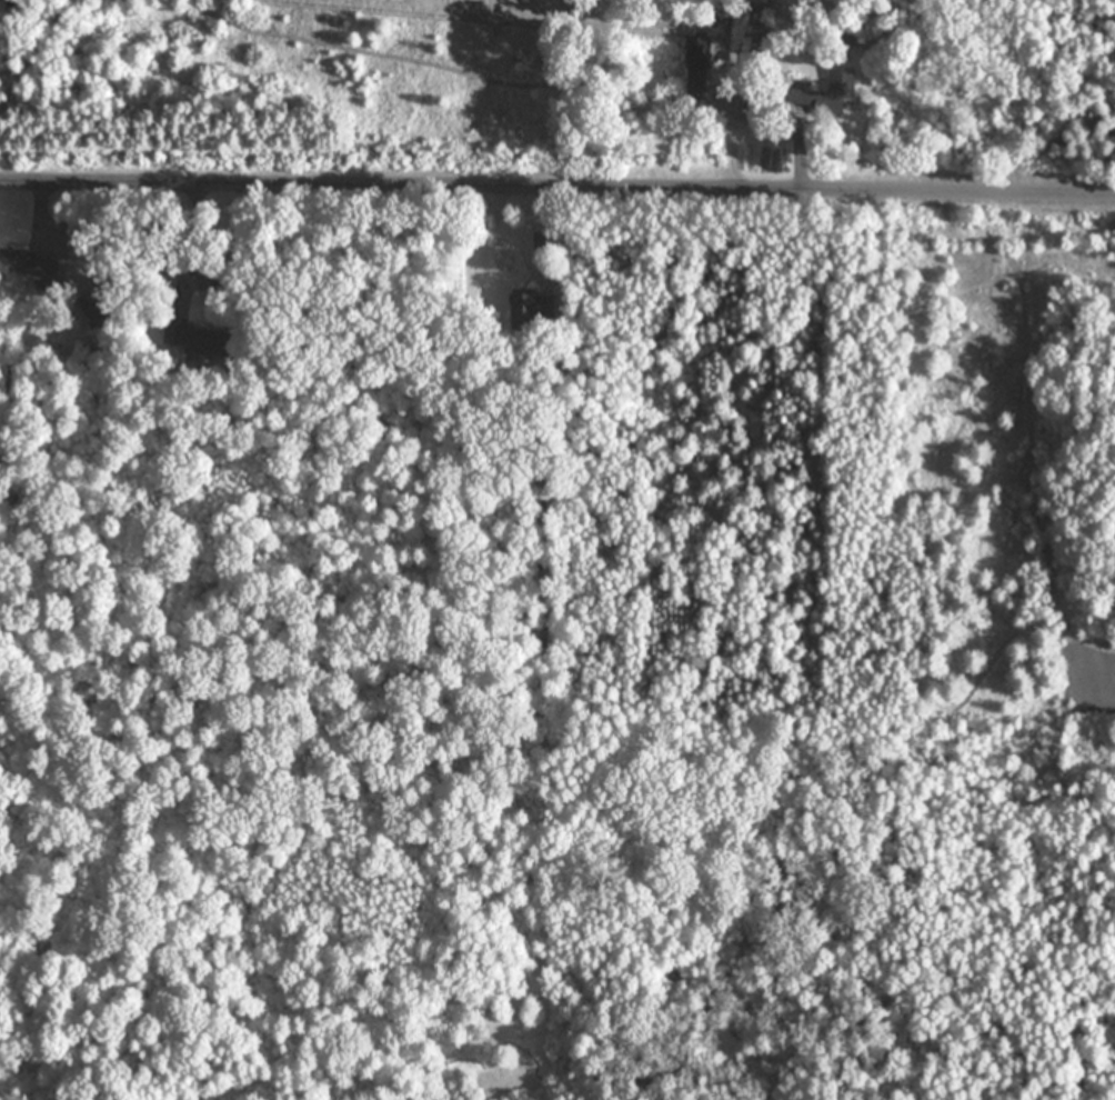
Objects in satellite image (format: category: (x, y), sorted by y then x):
building: (759, 40)
building: (739, 57)
road: (771, 63)
building: (696, 66)
building: (842, 87)
building: (760, 99)
road: (557, 187)
road: (512, 230)
building: (543, 241)
building: (31, 268)
building: (531, 310)
building: (198, 341)

